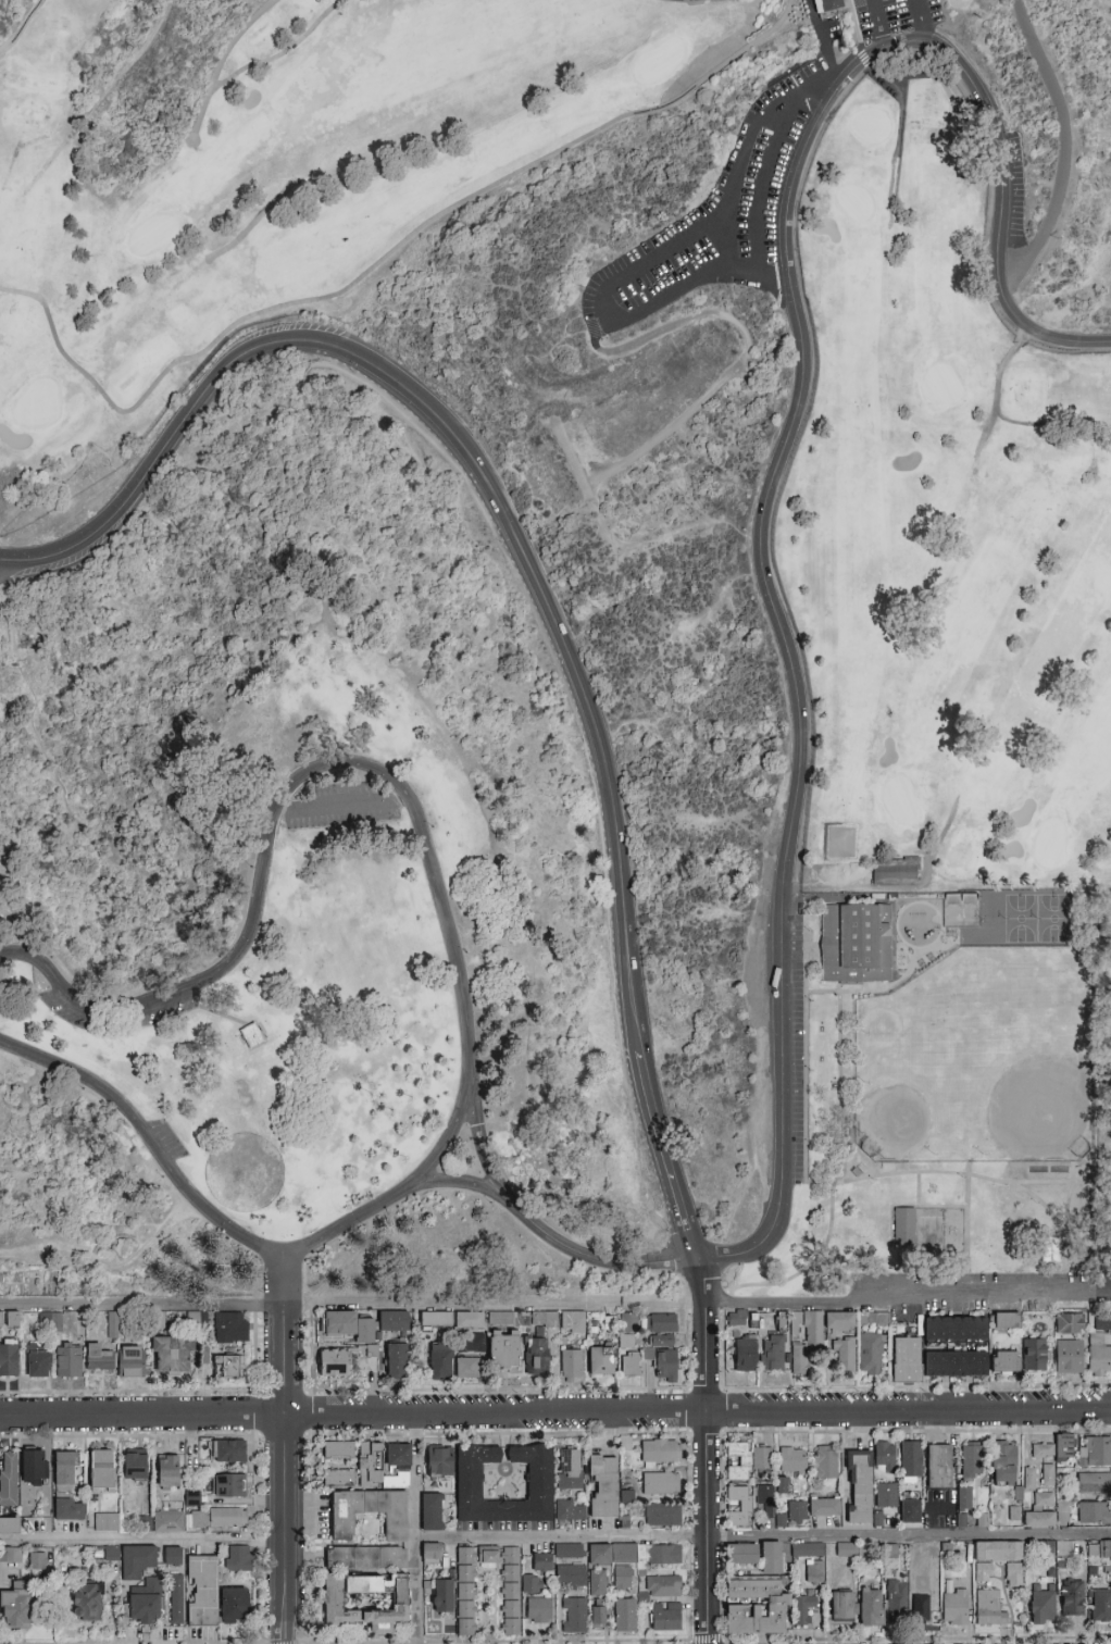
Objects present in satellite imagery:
road: (687, 0)
road: (1108, 2)
building: (826, 4)
parking lot: (891, 16)
road: (922, 21)
road: (877, 25)
road: (22, 27)
road: (223, 59)
road: (710, 75)
road: (1065, 147)
road: (737, 155)
park: (383, 161)
road: (762, 186)
parking lot: (717, 217)
road: (238, 239)
road: (1090, 287)
road: (598, 299)
road: (744, 339)
road: (89, 378)
road: (785, 443)
road: (656, 538)
road: (494, 539)
park: (946, 540)
road: (525, 561)
road: (8, 587)
park: (554, 649)
parking lot: (342, 806)
building: (892, 870)
road: (822, 879)
road: (936, 908)
park: (962, 910)
park: (1037, 920)
building: (858, 944)
road: (947, 948)
road: (525, 971)
road: (862, 992)
road: (466, 1001)
parking lot: (70, 1011)
road: (213, 1011)
parking lot: (161, 1013)
building: (251, 1035)
parking lot: (797, 1069)
road: (457, 1130)
parking lot: (167, 1138)
road: (939, 1173)
road: (836, 1178)
road: (1038, 1183)
road: (127, 1209)
building: (900, 1225)
road: (1065, 1229)
road: (968, 1231)
road: (113, 1236)
road: (653, 1243)
building: (1051, 1249)
road: (594, 1257)
road: (112, 1269)
road: (285, 1275)
road: (704, 1281)
road: (910, 1298)
road: (498, 1303)
road: (142, 1305)
building: (499, 1317)
building: (196, 1318)
building: (871, 1318)
building: (436, 1319)
building: (737, 1319)
building: (10, 1320)
building: (48, 1320)
building: (544, 1320)
building: (394, 1321)
building: (1006, 1321)
building: (573, 1322)
building: (839, 1322)
building: (1102, 1322)
building: (661, 1323)
building: (1069, 1323)
building: (112, 1324)
building: (348, 1325)
building: (230, 1328)
building: (627, 1330)
building: (954, 1330)
building: (470, 1332)
building: (804, 1340)
building: (663, 1342)
building: (504, 1350)
building: (745, 1352)
building: (537, 1353)
building: (773, 1354)
building: (871, 1354)
building: (1035, 1354)
building: (845, 1355)
building: (173, 1356)
building: (1098, 1356)
building: (1069, 1357)
building: (397, 1359)
building: (9, 1360)
building: (68, 1360)
building: (116, 1360)
building: (907, 1360)
building: (440, 1361)
building: (600, 1361)
building: (39, 1363)
building: (335, 1363)
building: (571, 1363)
building: (1004, 1363)
building: (631, 1365)
building: (665, 1365)
building: (956, 1365)
building: (228, 1367)
building: (467, 1368)
road: (554, 1413)
building: (1064, 1447)
building: (227, 1450)
building: (339, 1450)
building: (1043, 1452)
building: (658, 1453)
building: (885, 1457)
building: (792, 1459)
building: (911, 1459)
building: (439, 1461)
building: (738, 1461)
building: (972, 1461)
building: (761, 1462)
building: (826, 1462)
building: (1003, 1462)
building: (369, 1465)
building: (135, 1466)
building: (398, 1466)
building: (1095, 1466)
building: (940, 1467)
building: (33, 1468)
building: (570, 1469)
building: (101, 1470)
building: (167, 1470)
road: (712, 1472)
road: (286, 1473)
building: (1048, 1475)
building: (8, 1477)
building: (340, 1478)
building: (1029, 1478)
building: (540, 1482)
building: (661, 1484)
building: (228, 1485)
building: (783, 1485)
building: (604, 1486)
building: (861, 1486)
building: (65, 1487)
building: (887, 1496)
building: (964, 1498)
building: (1044, 1499)
building: (765, 1502)
building: (739, 1506)
building: (825, 1507)
building: (906, 1510)
building: (1012, 1511)
building: (370, 1512)
building: (432, 1512)
building: (571, 1512)
building: (798, 1512)
building: (1063, 1512)
building: (1094, 1512)
building: (663, 1515)
building: (876, 1517)
building: (217, 1518)
building: (779, 1519)
building: (1039, 1519)
building: (961, 1520)
building: (982, 1520)
building: (108, 1522)
building: (167, 1522)
building: (10, 1525)
road: (414, 1529)
road: (762, 1539)
road: (143, 1541)
building: (1089, 1548)
building: (889, 1549)
building: (1106, 1549)
building: (570, 1550)
building: (808, 1550)
building: (848, 1550)
building: (917, 1552)
building: (432, 1553)
building: (611, 1553)
building: (111, 1554)
building: (484, 1554)
building: (10, 1555)
building: (662, 1555)
building: (742, 1555)
building: (172, 1556)
building: (366, 1558)
building: (489, 1558)
building: (772, 1558)
building: (1003, 1558)
building: (239, 1559)
building: (38, 1561)
building: (137, 1561)
building: (542, 1562)
building: (814, 1571)
building: (983, 1572)
building: (571, 1575)
building: (624, 1578)
building: (598, 1582)
building: (532, 1584)
building: (664, 1586)
building: (203, 1591)
building: (511, 1591)
building: (466, 1592)
building: (444, 1596)
building: (897, 1598)
building: (1071, 1598)
building: (176, 1599)
building: (365, 1601)
building: (88, 1603)
building: (146, 1603)
building: (922, 1605)
building: (1043, 1605)
building: (235, 1606)
building: (1100, 1606)
building: (757, 1607)
building: (956, 1607)
building: (841, 1608)
building: (871, 1608)
building: (988, 1608)
building: (16, 1609)
building: (803, 1609)
building: (539, 1610)
building: (575, 1615)
building: (625, 1616)
building: (598, 1617)
building: (665, 1620)

